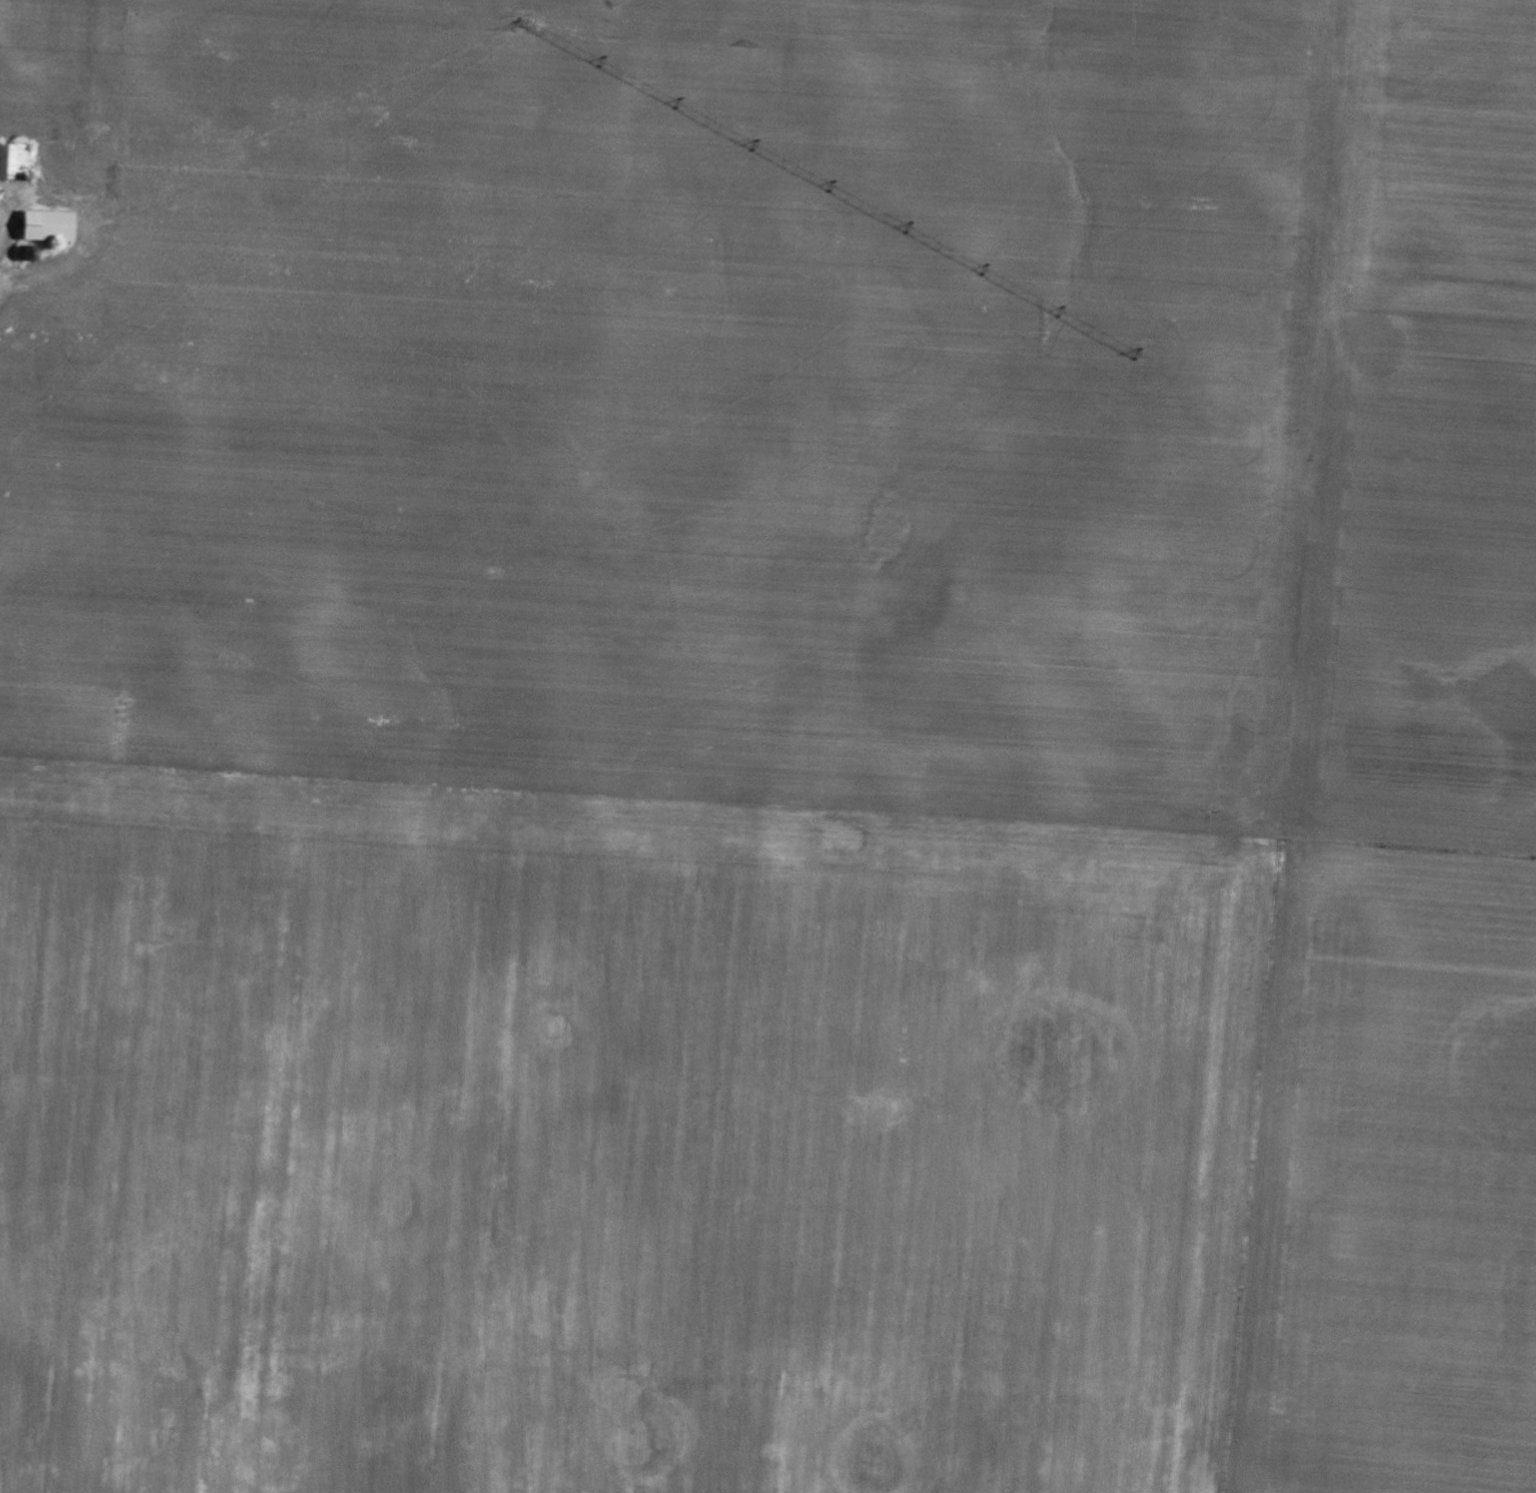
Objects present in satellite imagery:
building: (12, 159)
building: (48, 225)

